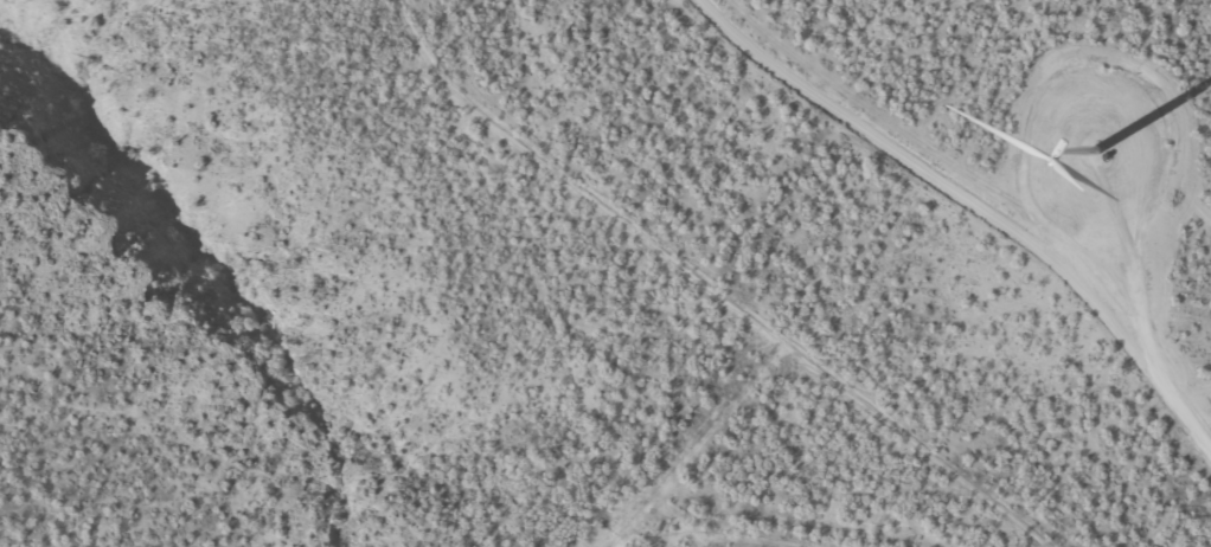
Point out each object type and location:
wind turbine: (1098, 161)
road: (981, 207)

